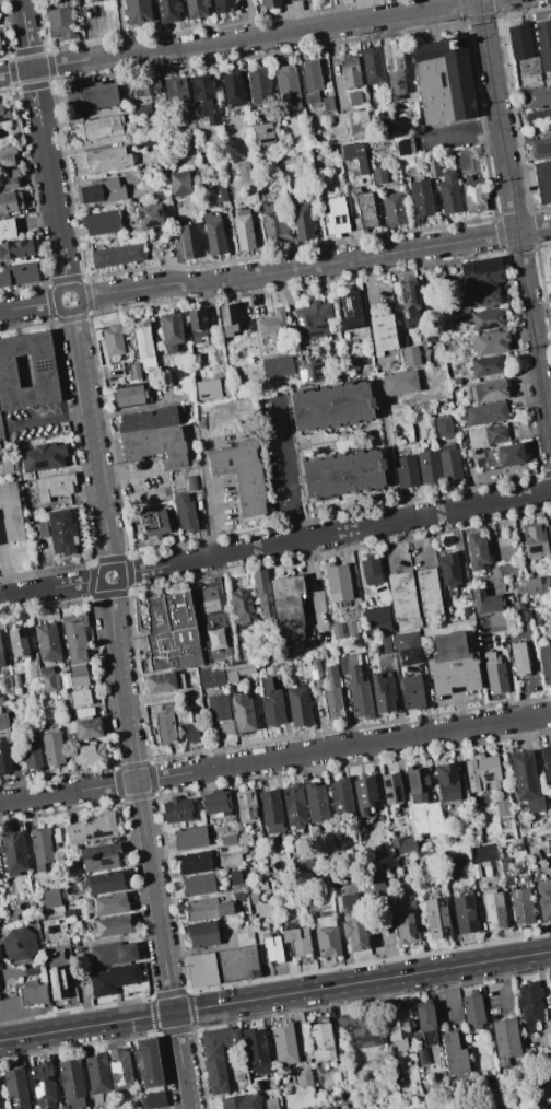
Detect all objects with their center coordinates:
building: (94, 0)
building: (293, 0)
building: (73, 3)
building: (271, 3)
building: (223, 5)
building: (197, 8)
building: (167, 10)
building: (137, 11)
building: (60, 24)
road: (244, 40)
building: (519, 42)
building: (544, 44)
building: (0, 48)
building: (372, 66)
building: (394, 69)
building: (350, 70)
building: (310, 81)
building: (443, 81)
building: (259, 85)
building: (145, 86)
building: (288, 86)
building: (203, 89)
building: (232, 89)
building: (177, 95)
building: (92, 96)
building: (537, 96)
building: (353, 97)
building: (327, 104)
building: (141, 108)
building: (4, 115)
building: (406, 115)
building: (539, 117)
building: (359, 122)
building: (102, 128)
building: (262, 133)
road: (461, 137)
building: (146, 142)
road: (44, 143)
building: (403, 147)
building: (541, 148)
building: (330, 150)
building: (8, 156)
building: (354, 156)
building: (107, 160)
building: (351, 167)
building: (433, 168)
building: (379, 176)
building: (9, 179)
building: (542, 182)
building: (179, 184)
building: (101, 192)
building: (448, 192)
building: (473, 195)
building: (221, 196)
building: (420, 198)
building: (10, 202)
building: (364, 210)
building: (394, 210)
building: (150, 217)
building: (336, 217)
building: (302, 218)
road: (515, 220)
building: (101, 222)
building: (275, 225)
building: (7, 229)
building: (244, 231)
building: (213, 234)
building: (189, 242)
building: (15, 249)
building: (118, 256)
road: (316, 266)
building: (480, 266)
building: (549, 267)
building: (19, 275)
building: (483, 280)
building: (409, 299)
building: (478, 299)
road: (28, 306)
road: (71, 311)
building: (351, 311)
building: (227, 319)
building: (486, 319)
building: (313, 320)
building: (198, 326)
building: (273, 326)
building: (172, 330)
building: (383, 334)
building: (113, 341)
building: (490, 343)
building: (143, 346)
building: (411, 358)
building: (424, 362)
building: (278, 366)
building: (486, 366)
building: (307, 369)
building: (116, 370)
building: (44, 371)
building: (136, 373)
building: (399, 383)
building: (489, 392)
building: (132, 395)
building: (331, 408)
building: (485, 415)
road: (47, 418)
building: (151, 420)
building: (443, 427)
building: (246, 429)
building: (485, 436)
road: (92, 439)
building: (157, 446)
building: (43, 457)
building: (502, 457)
building: (449, 463)
building: (7, 465)
building: (429, 468)
road: (285, 470)
road: (125, 472)
building: (406, 472)
building: (243, 475)
building: (344, 476)
building: (192, 483)
building: (31, 485)
building: (25, 486)
building: (54, 487)
road: (208, 501)
building: (11, 513)
building: (186, 513)
building: (155, 525)
building: (39, 530)
building: (62, 532)
road: (335, 533)
building: (549, 533)
building: (535, 539)
building: (477, 551)
building: (448, 570)
building: (461, 570)
building: (371, 571)
building: (337, 582)
building: (538, 585)
road: (110, 587)
road: (50, 588)
building: (262, 592)
building: (429, 592)
building: (402, 596)
building: (486, 603)
building: (243, 606)
building: (288, 606)
building: (518, 606)
building: (466, 611)
building: (524, 616)
building: (377, 619)
building: (496, 623)
building: (351, 630)
building: (337, 631)
building: (171, 632)
building: (74, 638)
building: (214, 639)
building: (19, 642)
building: (48, 642)
building: (386, 645)
building: (408, 647)
building: (1, 656)
building: (519, 658)
building: (544, 663)
building: (453, 664)
building: (79, 669)
building: (35, 670)
building: (238, 670)
building: (274, 672)
building: (316, 674)
building: (494, 674)
building: (332, 676)
building: (211, 677)
building: (49, 679)
building: (16, 680)
building: (80, 680)
building: (164, 682)
building: (357, 687)
building: (384, 691)
building: (412, 692)
building: (81, 697)
building: (333, 703)
building: (271, 704)
building: (298, 704)
building: (164, 707)
building: (219, 708)
building: (243, 713)
building: (185, 716)
building: (83, 728)
building: (165, 729)
building: (191, 734)
building: (4, 745)
building: (52, 748)
building: (32, 752)
building: (92, 754)
road: (274, 758)
building: (547, 761)
building: (483, 770)
building: (447, 782)
building: (418, 783)
building: (527, 783)
building: (391, 789)
building: (341, 798)
building: (365, 798)
building: (216, 803)
building: (316, 803)
building: (294, 804)
building: (246, 805)
building: (503, 808)
building: (178, 809)
building: (271, 809)
building: (382, 817)
building: (92, 828)
building: (56, 836)
building: (190, 838)
building: (228, 839)
building: (243, 840)
building: (403, 847)
building: (519, 847)
road: (146, 848)
building: (547, 849)
building: (43, 850)
building: (378, 850)
building: (483, 852)
building: (13, 853)
building: (461, 854)
building: (101, 856)
building: (195, 863)
building: (401, 866)
building: (506, 871)
building: (535, 873)
building: (336, 878)
building: (237, 880)
building: (105, 883)
building: (200, 884)
building: (373, 885)
building: (250, 886)
building: (238, 897)
building: (51, 899)
building: (544, 899)
building: (107, 904)
building: (521, 906)
building: (200, 909)
building: (225, 909)
building: (493, 910)
building: (466, 913)
building: (69, 915)
building: (437, 918)
building: (353, 923)
building: (406, 923)
building: (112, 926)
building: (203, 934)
building: (327, 935)
building: (244, 939)
building: (296, 939)
building: (19, 944)
building: (272, 947)
building: (113, 954)
building: (0, 966)
building: (222, 967)
building: (33, 971)
building: (83, 978)
building: (114, 979)
building: (57, 983)
road: (505, 983)
building: (550, 985)
building: (86, 990)
building: (34, 993)
road: (274, 995)
building: (530, 1005)
building: (472, 1011)
building: (426, 1023)
building: (398, 1028)
building: (360, 1029)
building: (321, 1040)
building: (506, 1040)
building: (284, 1043)
building: (420, 1048)
building: (255, 1050)
building: (454, 1054)
building: (218, 1055)
building: (149, 1062)
building: (119, 1069)
building: (340, 1070)
building: (98, 1075)
building: (305, 1079)
building: (549, 1081)
building: (72, 1083)
building: (44, 1085)
building: (16, 1086)
building: (493, 1094)
building: (151, 1100)
building: (242, 1101)
building: (270, 1102)
building: (0, 1104)
building: (62, 1107)
building: (328, 1108)

